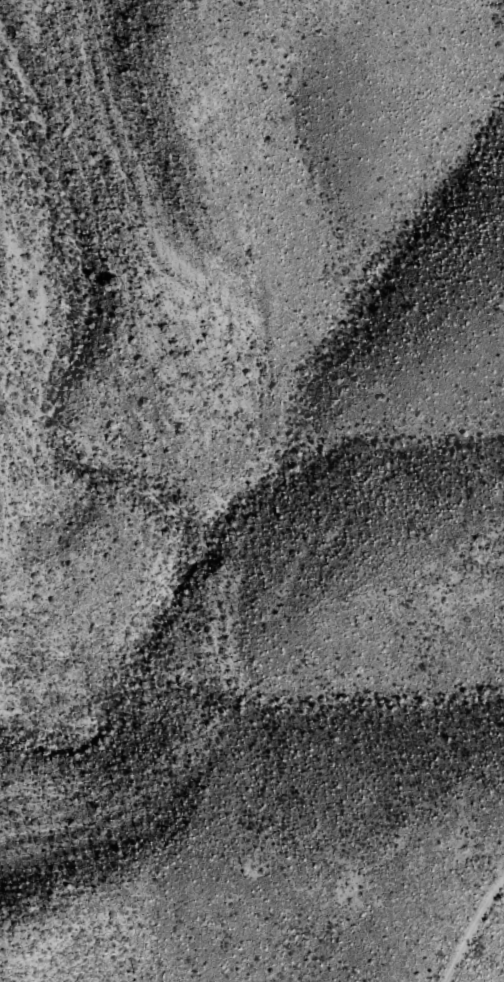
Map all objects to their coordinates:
road: (467, 949)

